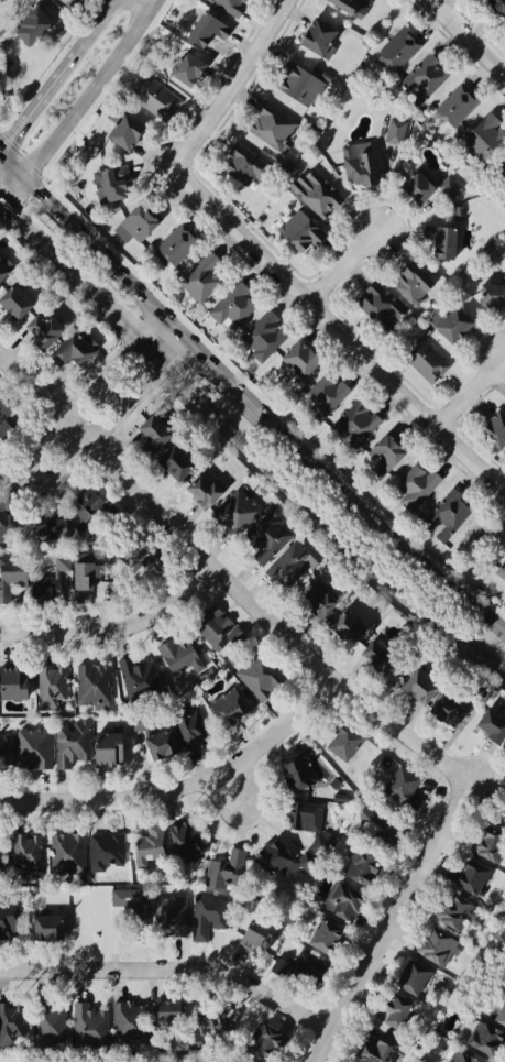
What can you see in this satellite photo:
building: (230, 6)
building: (345, 6)
building: (496, 6)
building: (204, 26)
building: (28, 28)
road: (470, 34)
building: (316, 35)
building: (402, 52)
building: (180, 67)
road: (58, 77)
road: (238, 83)
building: (429, 84)
building: (299, 85)
road: (95, 91)
building: (155, 100)
building: (453, 108)
building: (273, 128)
building: (119, 130)
building: (393, 130)
building: (475, 136)
traffic signals: (0, 152)
road: (13, 164)
building: (246, 164)
building: (355, 164)
building: (501, 164)
traffic signals: (26, 177)
building: (411, 185)
building: (446, 186)
building: (106, 187)
road: (15, 188)
road: (2, 196)
building: (316, 196)
traffic signals: (6, 199)
building: (458, 210)
building: (136, 221)
building: (460, 223)
building: (296, 229)
building: (437, 241)
building: (172, 245)
road: (99, 251)
road: (350, 265)
building: (1, 271)
building: (198, 277)
building: (404, 282)
building: (488, 294)
building: (11, 300)
building: (232, 303)
building: (377, 305)
road: (342, 324)
building: (448, 324)
building: (36, 330)
building: (263, 333)
building: (66, 350)
road: (202, 355)
building: (294, 360)
building: (424, 362)
road: (474, 393)
building: (323, 394)
building: (3, 414)
road: (74, 423)
building: (355, 424)
building: (490, 426)
building: (146, 434)
road: (243, 446)
road: (108, 455)
building: (381, 455)
building: (168, 461)
building: (0, 472)
building: (415, 484)
building: (201, 486)
building: (80, 501)
building: (446, 504)
building: (232, 508)
road: (364, 513)
building: (4, 516)
building: (46, 521)
building: (262, 537)
building: (142, 561)
building: (290, 566)
building: (14, 572)
road: (206, 572)
building: (498, 574)
building: (84, 576)
building: (50, 582)
building: (312, 598)
road: (275, 618)
building: (208, 626)
building: (345, 627)
road: (105, 631)
building: (376, 652)
building: (180, 655)
building: (136, 676)
building: (259, 676)
building: (416, 680)
building: (11, 682)
building: (90, 683)
building: (50, 688)
building: (223, 705)
building: (448, 710)
building: (140, 725)
building: (185, 727)
road: (404, 727)
building: (487, 729)
building: (343, 740)
building: (69, 742)
building: (106, 744)
building: (153, 746)
building: (31, 749)
building: (7, 752)
building: (295, 770)
road: (187, 787)
road: (231, 790)
building: (404, 796)
building: (501, 811)
building: (309, 823)
building: (376, 831)
building: (175, 840)
building: (485, 843)
building: (150, 845)
building: (66, 854)
building: (23, 855)
building: (266, 855)
building: (0, 858)
building: (370, 872)
building: (218, 875)
building: (468, 875)
building: (345, 896)
building: (131, 901)
building: (213, 911)
building: (455, 912)
building: (165, 913)
road: (395, 919)
building: (9, 920)
building: (43, 921)
building: (253, 938)
building: (318, 940)
building: (436, 942)
road: (175, 966)
building: (304, 968)
building: (409, 977)
building: (504, 982)
building: (498, 1007)
building: (397, 1010)
building: (171, 1011)
building: (88, 1017)
building: (128, 1017)
building: (215, 1017)
building: (48, 1020)
building: (10, 1026)
building: (264, 1033)
building: (480, 1037)
building: (373, 1048)
building: (453, 1058)
building: (244, 1060)
building: (339, 1061)

